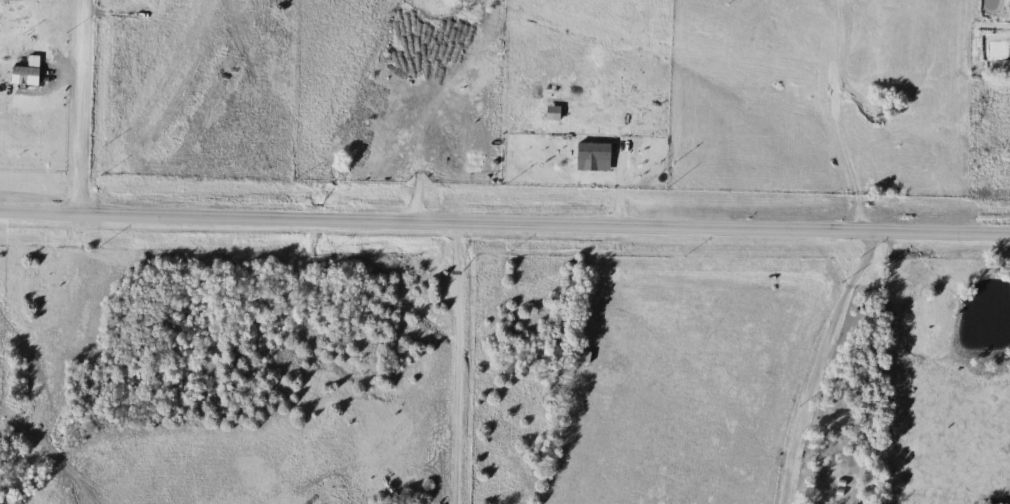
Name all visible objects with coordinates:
road: (83, 104)
road: (504, 232)
road: (819, 366)
road: (458, 367)

